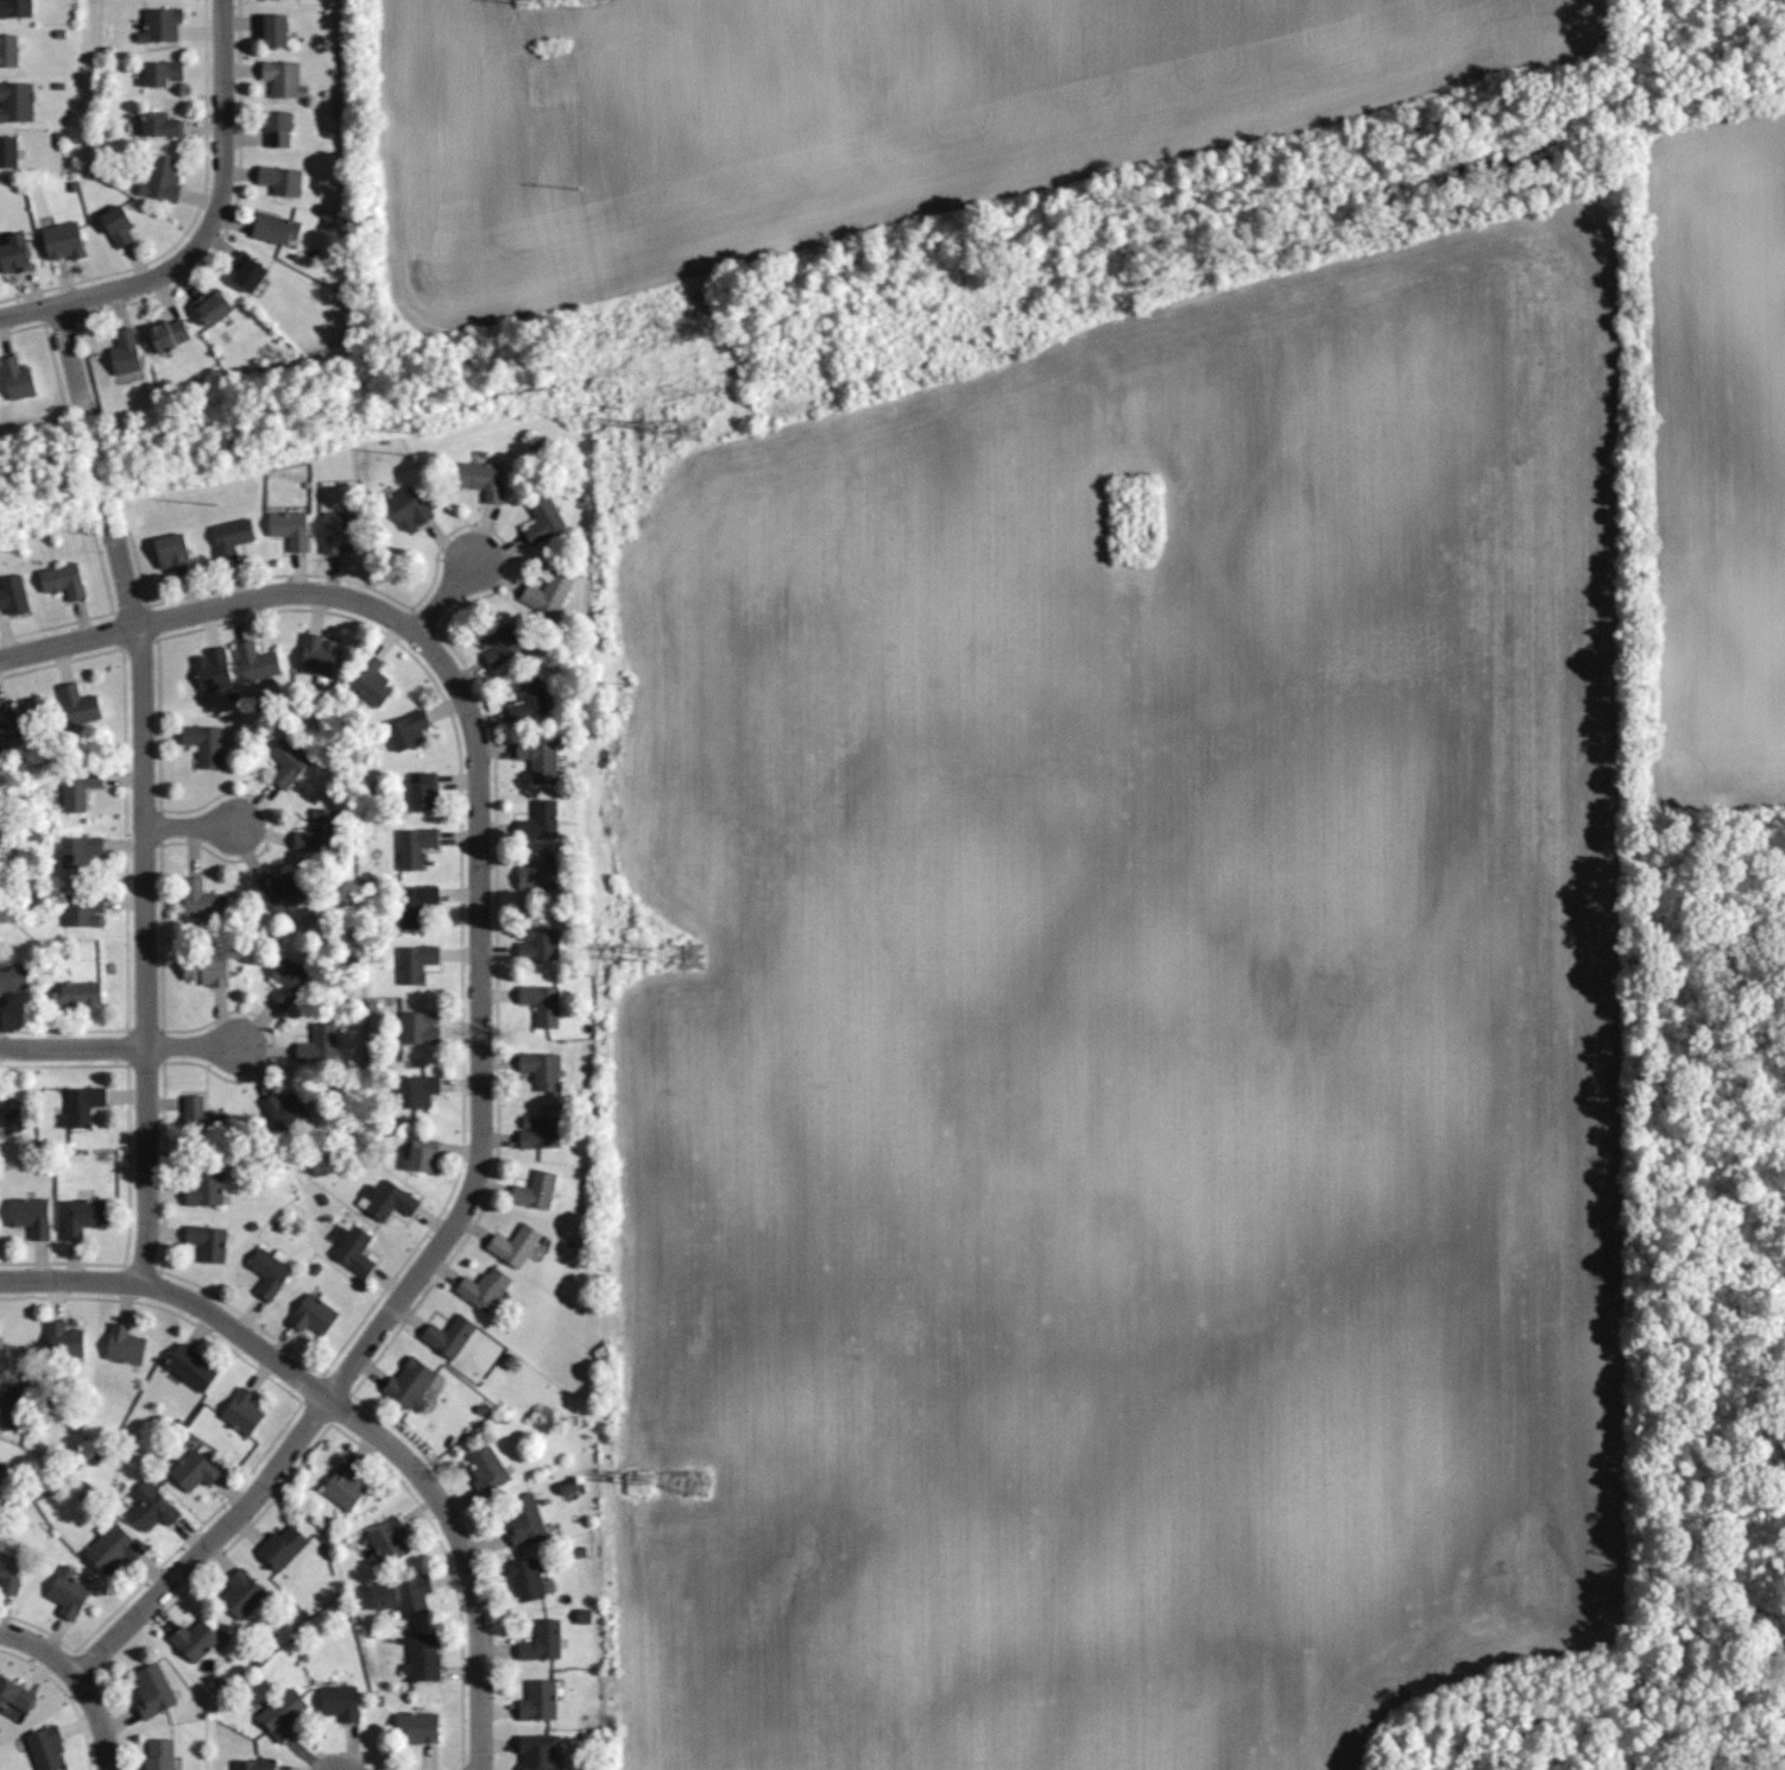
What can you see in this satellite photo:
building: (15, 8)
building: (160, 25)
building: (273, 30)
building: (10, 51)
building: (164, 73)
building: (283, 78)
building: (17, 102)
building: (162, 126)
building: (277, 130)
road: (222, 138)
building: (8, 151)
building: (163, 177)
building: (279, 179)
building: (118, 226)
building: (277, 231)
building: (64, 241)
building: (14, 256)
building: (246, 270)
road: (92, 296)
building: (214, 307)
building: (168, 334)
building: (124, 353)
road: (69, 359)
building: (17, 376)
power tower: (682, 433)
building: (482, 479)
building: (406, 506)
building: (543, 519)
building: (290, 525)
building: (339, 531)
building: (232, 535)
building: (172, 550)
building: (62, 580)
building: (547, 592)
building: (12, 596)
road: (446, 596)
road: (93, 634)
building: (500, 644)
road: (25, 649)
building: (316, 654)
building: (254, 661)
building: (213, 669)
building: (370, 680)
building: (528, 701)
building: (76, 704)
building: (14, 720)
building: (408, 730)
building: (203, 743)
building: (538, 758)
building: (285, 762)
building: (77, 787)
building: (423, 790)
building: (540, 819)
road: (190, 823)
building: (316, 830)
building: (414, 848)
building: (82, 851)
building: (537, 871)
building: (280, 892)
building: (202, 899)
building: (415, 902)
building: (81, 909)
road: (144, 912)
building: (537, 943)
power tower: (700, 950)
building: (414, 962)
building: (207, 965)
building: (286, 977)
building: (12, 980)
building: (72, 993)
building: (541, 1003)
building: (418, 1027)
building: (317, 1044)
road: (71, 1046)
road: (190, 1046)
road: (480, 1069)
building: (542, 1069)
building: (418, 1091)
building: (81, 1102)
building: (285, 1107)
building: (11, 1111)
building: (201, 1113)
building: (540, 1132)
building: (423, 1155)
building: (207, 1184)
building: (536, 1190)
building: (387, 1201)
building: (81, 1215)
building: (31, 1217)
building: (208, 1239)
building: (352, 1245)
building: (515, 1245)
building: (270, 1270)
road: (69, 1279)
building: (484, 1286)
building: (313, 1312)
building: (448, 1335)
building: (63, 1338)
building: (124, 1341)
building: (190, 1365)
building: (411, 1381)
building: (13, 1409)
building: (242, 1409)
road: (406, 1462)
building: (0, 1466)
building: (484, 1466)
building: (193, 1469)
power tower: (712, 1470)
building: (343, 1485)
building: (149, 1505)
building: (523, 1518)
building: (386, 1538)
building: (111, 1547)
building: (280, 1547)
building: (8, 1573)
building: (524, 1579)
building: (67, 1591)
building: (242, 1593)
building: (402, 1594)
building: (194, 1637)
building: (541, 1640)
road: (40, 1646)
building: (421, 1657)
building: (13, 1693)
building: (153, 1693)
building: (339, 1701)
building: (538, 1703)
building: (282, 1712)
road: (99, 1720)
building: (415, 1726)
building: (46, 1749)
building: (542, 1751)
building: (159, 1755)
building: (254, 1764)

